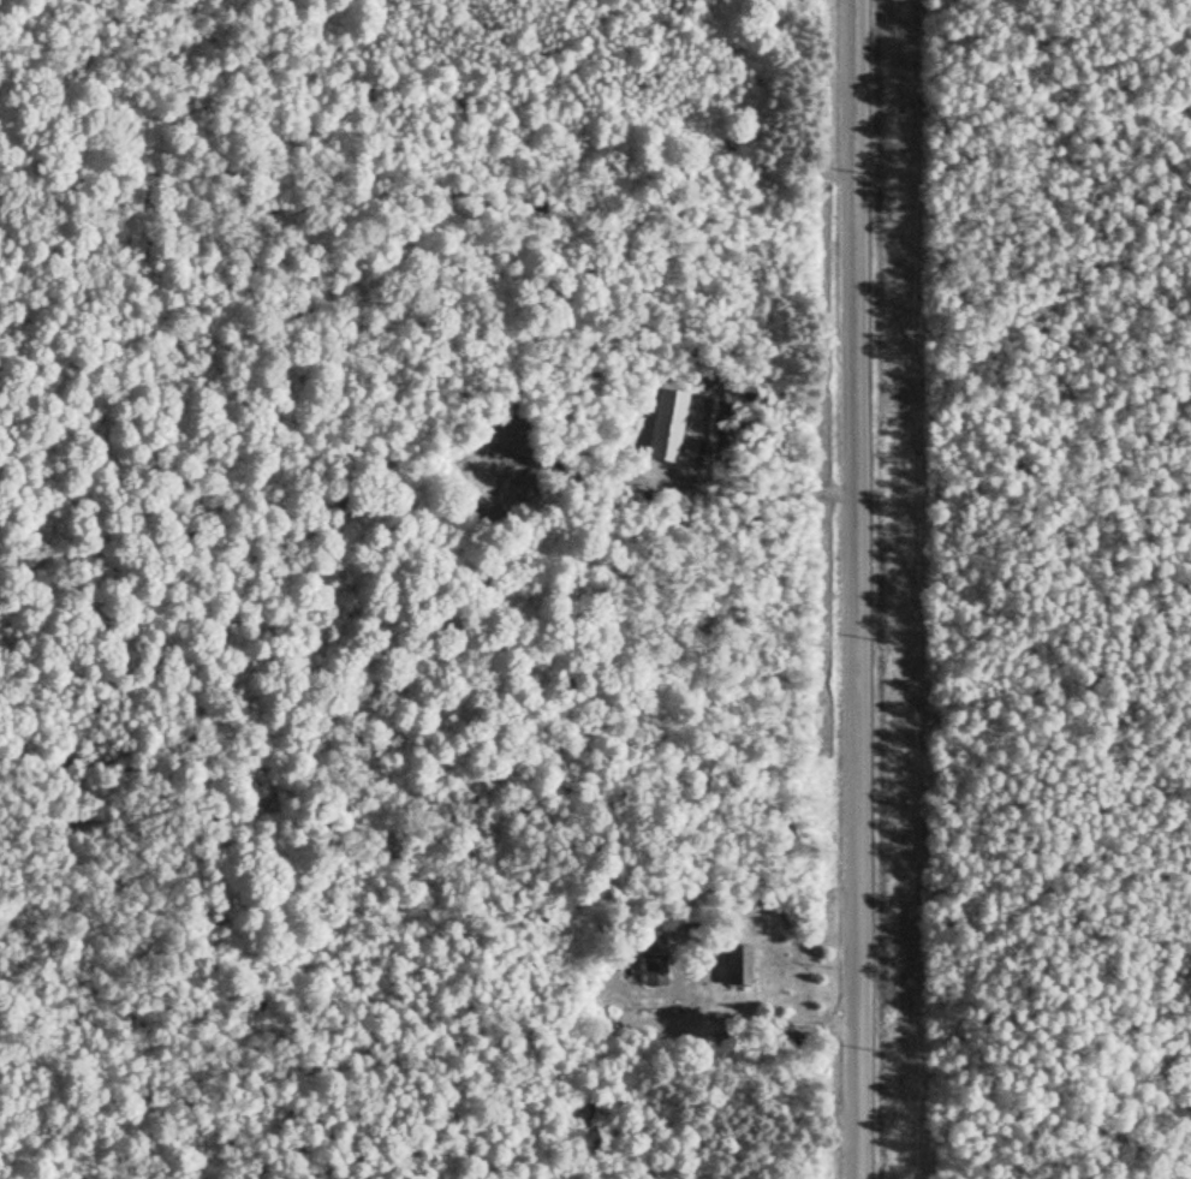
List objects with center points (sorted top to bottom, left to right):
road: (861, 589)
building: (739, 965)
building: (655, 971)
road: (804, 1024)

